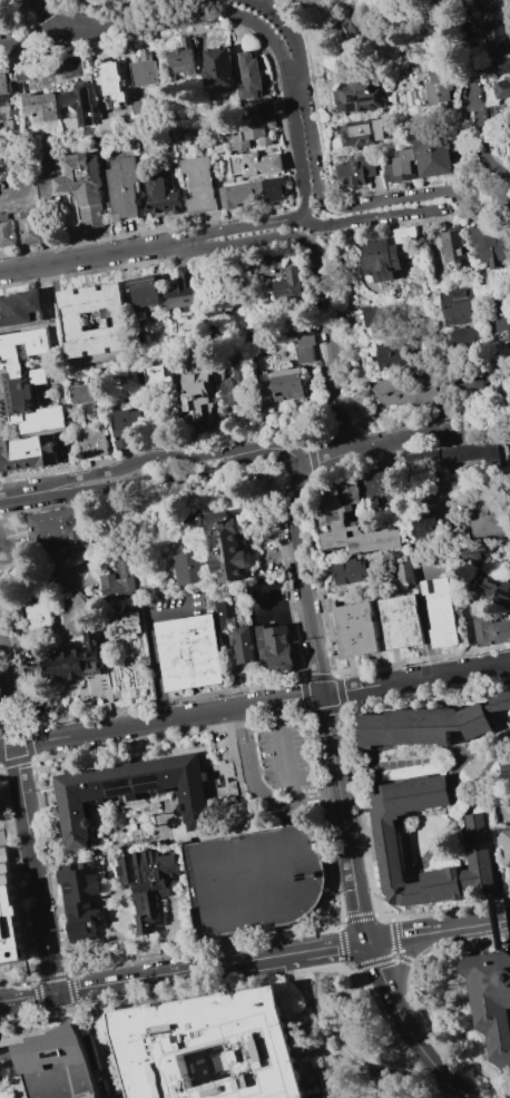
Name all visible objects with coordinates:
building: (498, 3)
road: (115, 7)
road: (56, 16)
road: (39, 18)
road: (153, 21)
building: (346, 21)
road: (14, 23)
road: (287, 29)
road: (268, 33)
building: (496, 33)
road: (39, 39)
building: (180, 57)
building: (503, 67)
building: (217, 69)
building: (144, 70)
building: (19, 73)
building: (110, 80)
building: (3, 82)
road: (296, 84)
building: (253, 86)
building: (439, 86)
building: (502, 89)
road: (475, 92)
building: (357, 97)
rooftop solar panel: (380, 97)
rooftop solar panel: (351, 98)
rooftop solar panel: (366, 98)
building: (410, 98)
building: (79, 102)
rooftop solar panel: (375, 105)
building: (41, 106)
rooftop solar panel: (354, 106)
building: (137, 107)
rooftop solar panel: (364, 108)
building: (8, 116)
building: (106, 125)
building: (253, 130)
building: (361, 131)
building: (509, 145)
road: (311, 149)
road: (298, 155)
building: (432, 156)
building: (254, 163)
road: (473, 164)
building: (399, 166)
road: (504, 169)
building: (355, 171)
building: (82, 185)
building: (199, 185)
building: (124, 188)
building: (273, 188)
building: (239, 194)
building: (163, 195)
road: (393, 198)
road: (384, 216)
road: (311, 224)
building: (29, 227)
road: (241, 227)
building: (7, 229)
building: (404, 235)
road: (245, 242)
building: (487, 245)
building: (451, 246)
road: (92, 258)
building: (379, 258)
building: (286, 284)
building: (182, 290)
building: (411, 290)
building: (146, 293)
building: (458, 305)
building: (19, 307)
building: (376, 313)
building: (75, 321)
building: (291, 322)
building: (501, 324)
building: (467, 335)
building: (23, 343)
road: (331, 343)
building: (304, 349)
building: (389, 356)
building: (155, 374)
building: (471, 381)
building: (283, 383)
building: (235, 385)
building: (412, 388)
building: (194, 392)
building: (85, 393)
building: (29, 401)
building: (124, 427)
road: (418, 435)
building: (92, 441)
road: (282, 449)
building: (28, 453)
road: (149, 454)
road: (324, 458)
building: (451, 458)
road: (157, 482)
building: (383, 488)
road: (24, 494)
road: (301, 494)
building: (490, 514)
building: (190, 520)
building: (333, 520)
building: (57, 526)
building: (428, 526)
building: (225, 548)
building: (475, 553)
road: (55, 557)
building: (188, 568)
building: (404, 570)
building: (353, 571)
building: (125, 573)
road: (28, 589)
building: (498, 591)
road: (306, 608)
building: (77, 611)
building: (441, 611)
building: (223, 615)
building: (38, 617)
building: (401, 621)
building: (120, 624)
building: (356, 629)
building: (491, 630)
building: (243, 644)
building: (275, 646)
road: (151, 647)
building: (188, 651)
road: (10, 659)
building: (69, 660)
road: (3, 676)
road: (414, 679)
building: (501, 703)
road: (159, 719)
building: (422, 726)
road: (281, 739)
parking lot: (286, 756)
building: (507, 771)
road: (251, 775)
rooftop solar panel: (148, 784)
rooftop solar panel: (119, 787)
building: (144, 791)
road: (328, 793)
road: (297, 803)
building: (0, 816)
road: (343, 817)
road: (13, 821)
park: (168, 821)
road: (29, 840)
building: (507, 844)
building: (389, 845)
road: (339, 869)
park: (306, 872)
park: (276, 873)
building: (254, 878)
parking lot: (254, 878)
park: (243, 879)
building: (147, 882)
park: (209, 884)
building: (79, 893)
building: (8, 912)
road: (497, 922)
road: (469, 925)
road: (398, 937)
traffic signals: (370, 941)
road: (330, 947)
road: (227, 949)
road: (383, 959)
road: (405, 959)
road: (379, 965)
road: (173, 973)
road: (256, 978)
road: (231, 987)
road: (406, 991)
traffic signals: (55, 993)
road: (27, 997)
road: (166, 1000)
building: (491, 1000)
road: (91, 1013)
road: (28, 1018)
road: (60, 1025)
road: (326, 1025)
road: (101, 1041)
road: (3, 1042)
road: (8, 1043)
building: (210, 1047)
road: (3, 1048)
road: (421, 1049)
building: (57, 1065)
road: (394, 1072)
road: (507, 1076)
road: (1, 1080)
road: (17, 1092)
road: (19, 1095)

